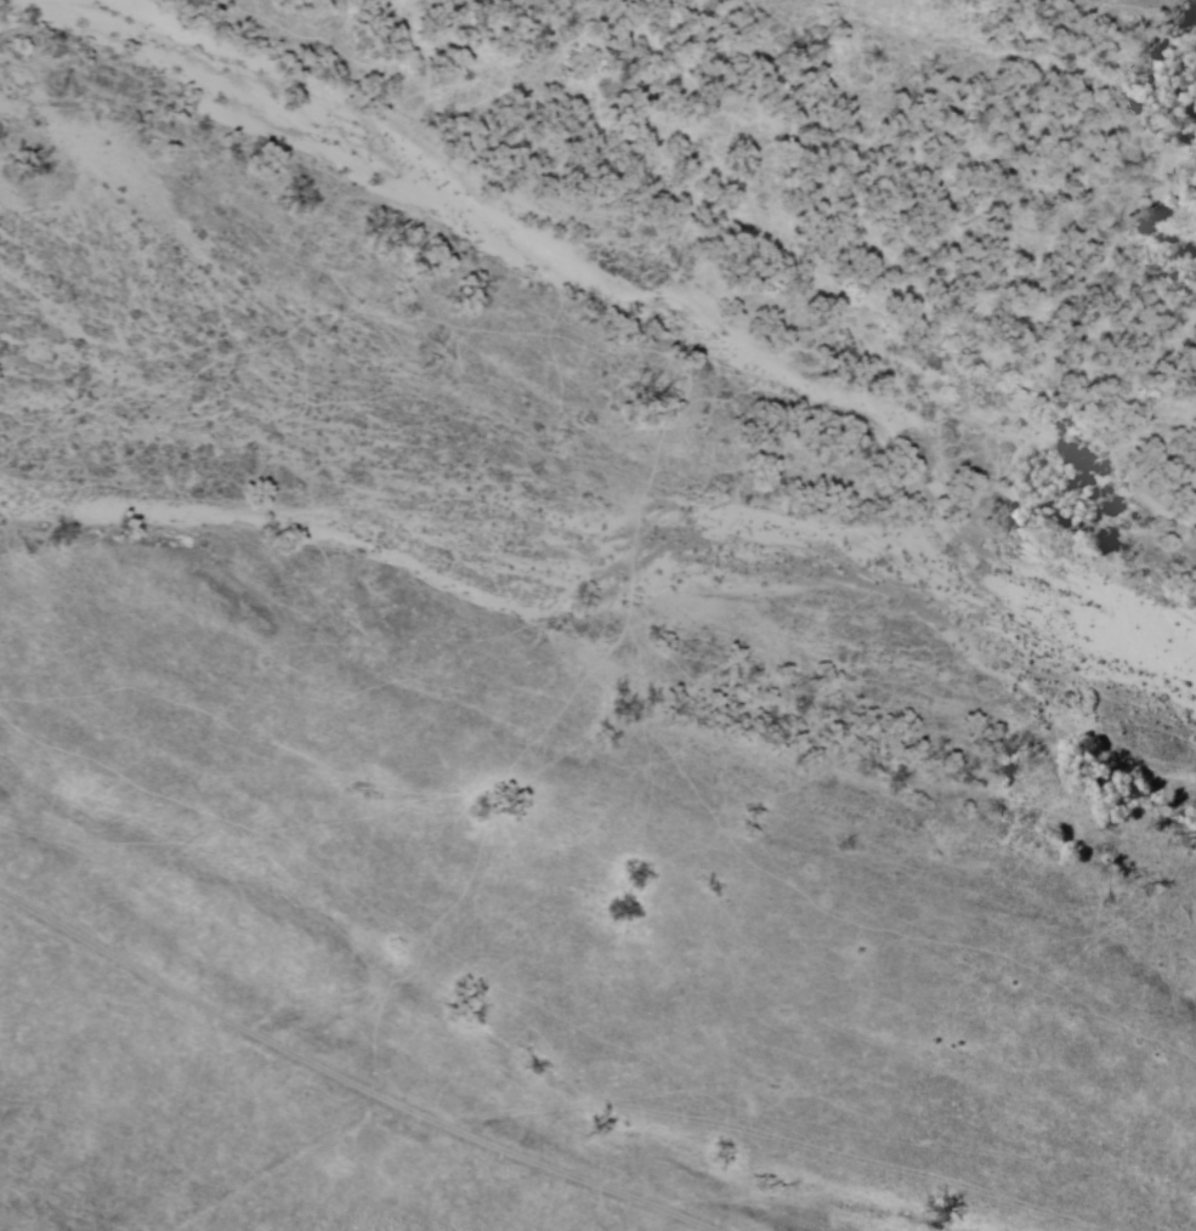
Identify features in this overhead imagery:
road: (346, 1082)

